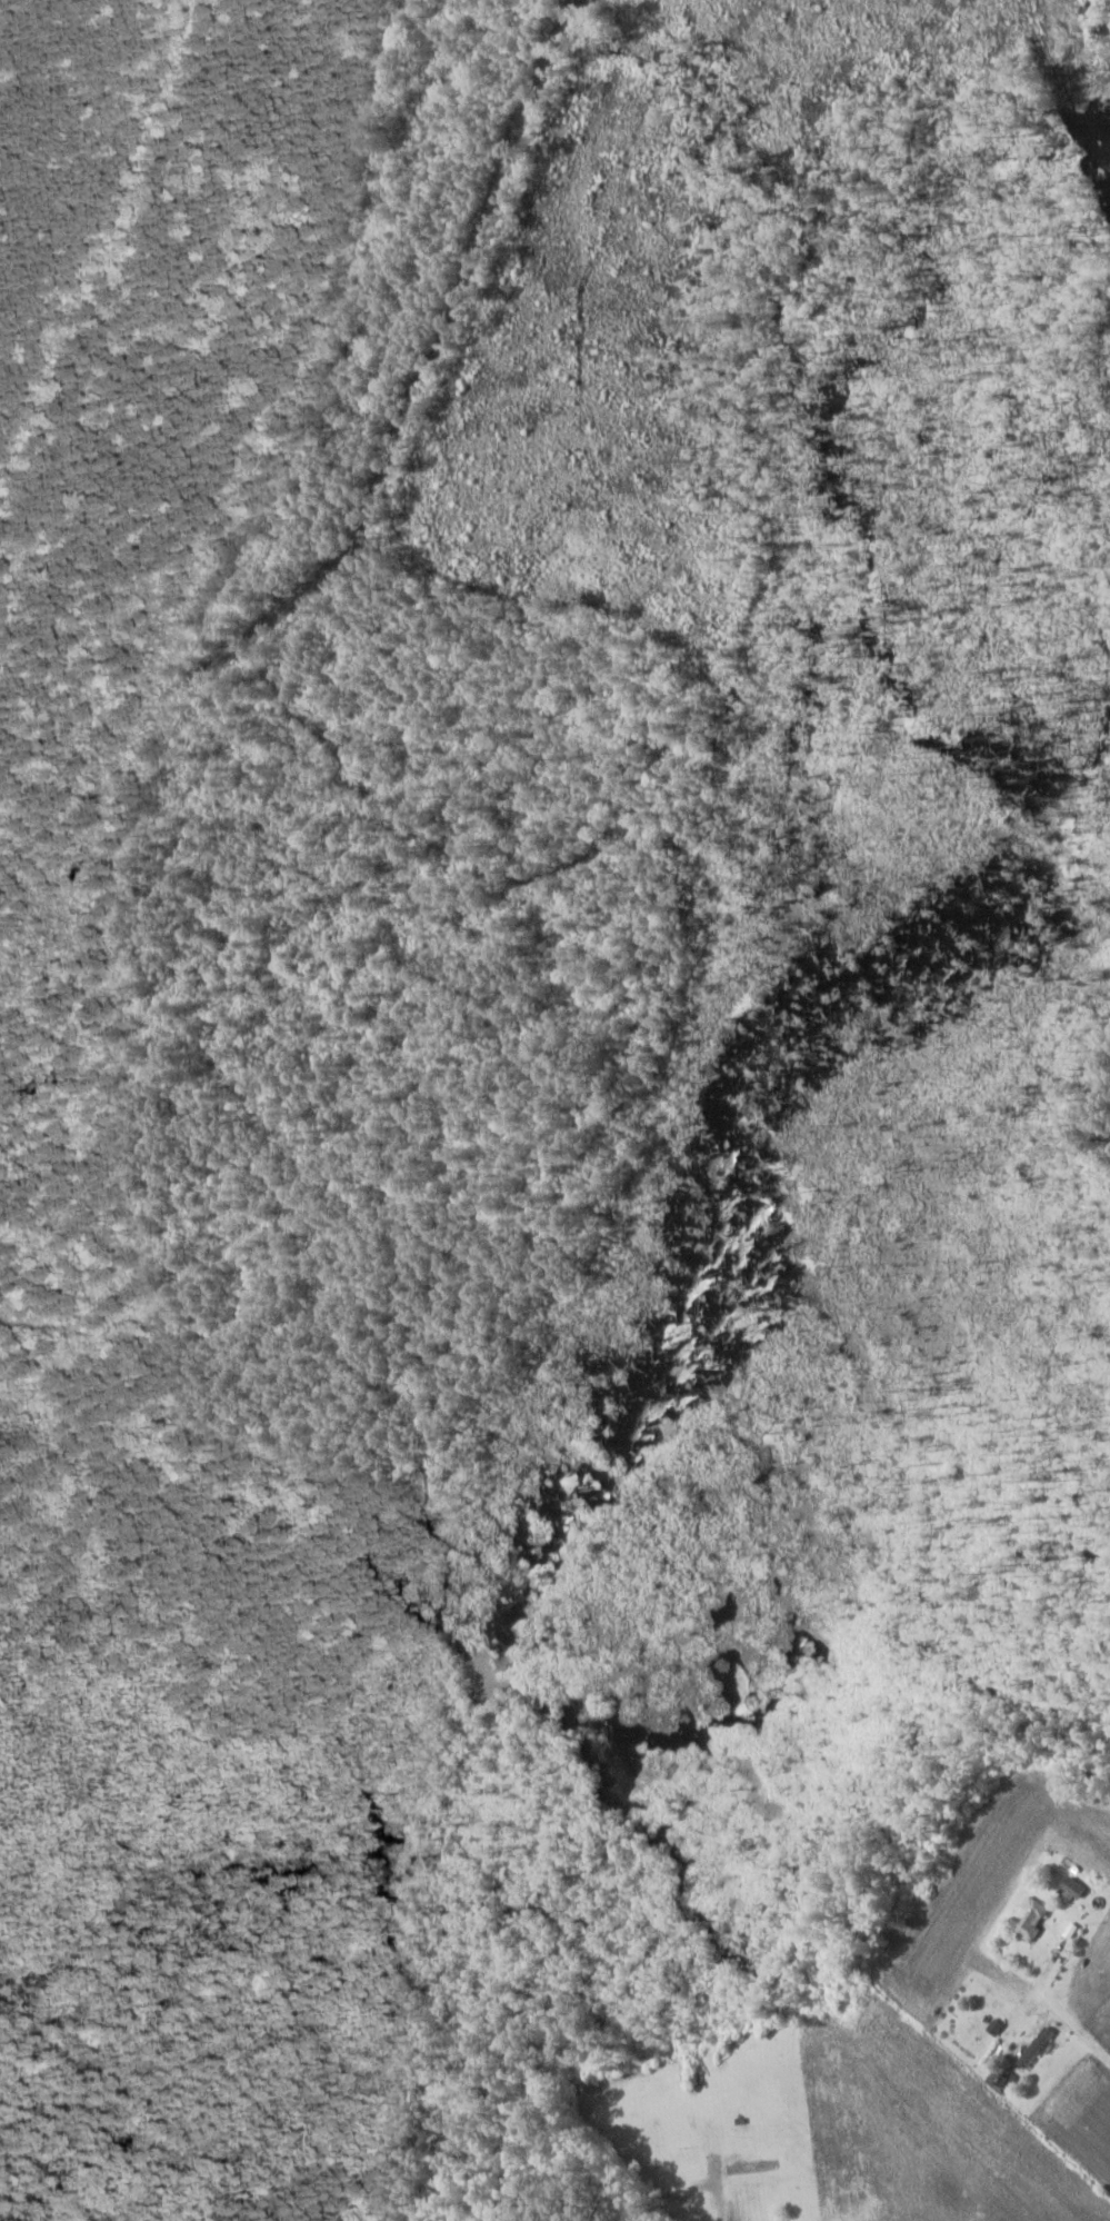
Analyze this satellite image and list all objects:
building: (1078, 1889)
building: (1038, 1915)
building: (1040, 2046)
building: (1003, 2079)
building: (754, 2167)

